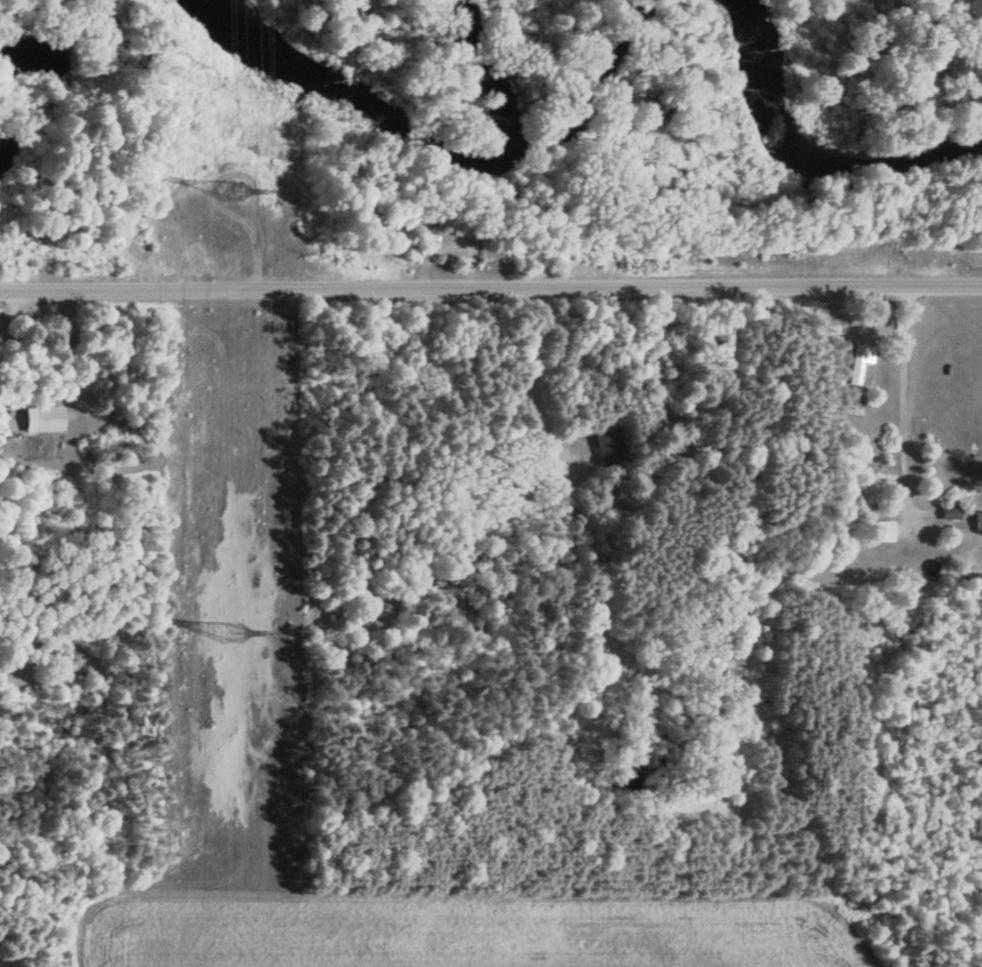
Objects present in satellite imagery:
river: (423, 145)
river: (805, 155)
power tower: (232, 187)
road: (491, 287)
building: (858, 362)
building: (46, 419)
building: (608, 447)
building: (950, 513)
power tower: (233, 627)

